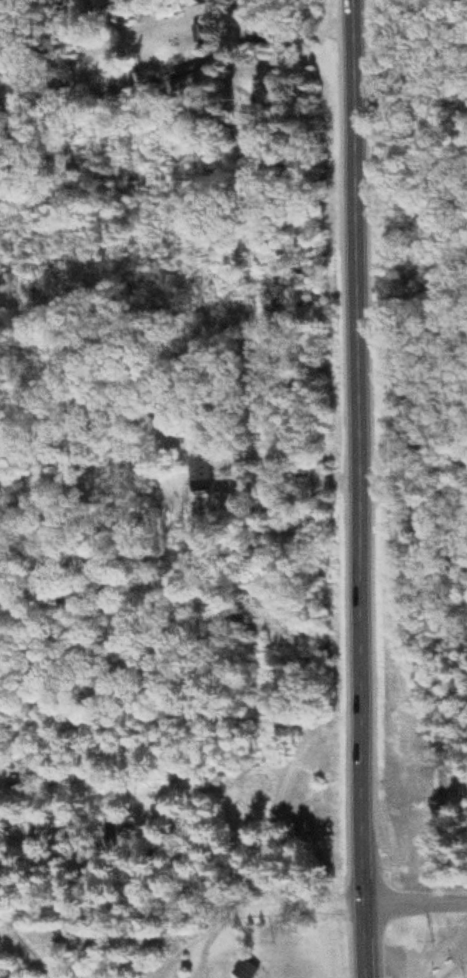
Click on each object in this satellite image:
building: (199, 474)
road: (360, 489)
building: (150, 790)
road: (57, 880)
road: (416, 908)
road: (182, 914)
road: (213, 947)
building: (246, 970)

